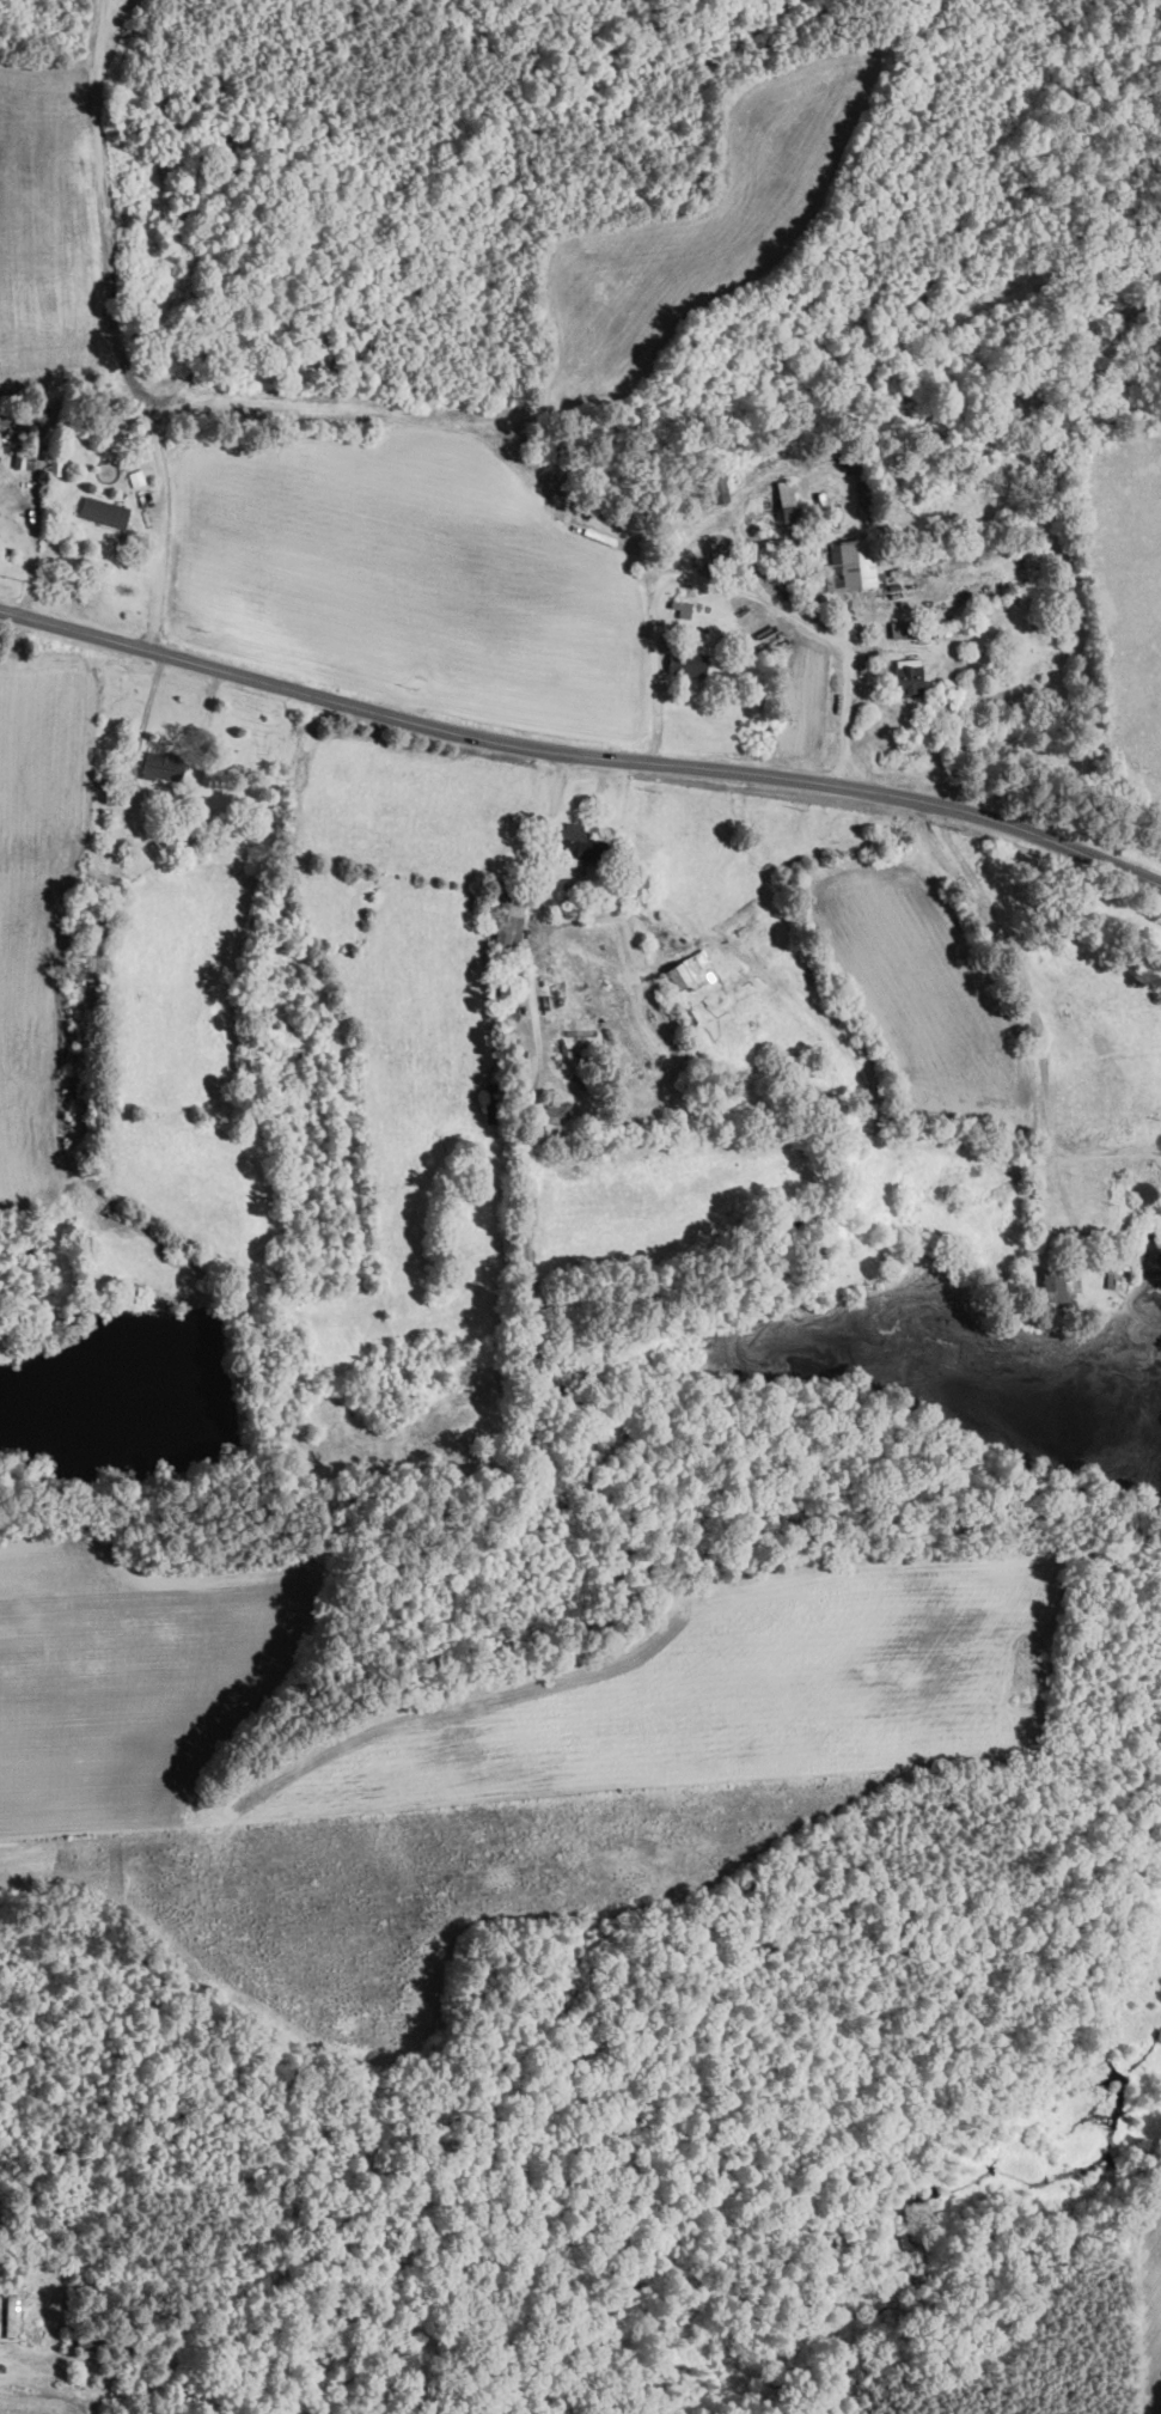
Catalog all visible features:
road: (116, 328)
building: (716, 487)
building: (787, 500)
building: (104, 511)
building: (850, 565)
road: (740, 587)
building: (682, 608)
building: (902, 628)
building: (686, 663)
building: (908, 677)
road: (579, 754)
building: (161, 766)
road: (151, 804)
road: (538, 912)
building: (509, 918)
building: (74, 970)
building: (690, 970)
building: (1059, 1285)
building: (11, 2315)

